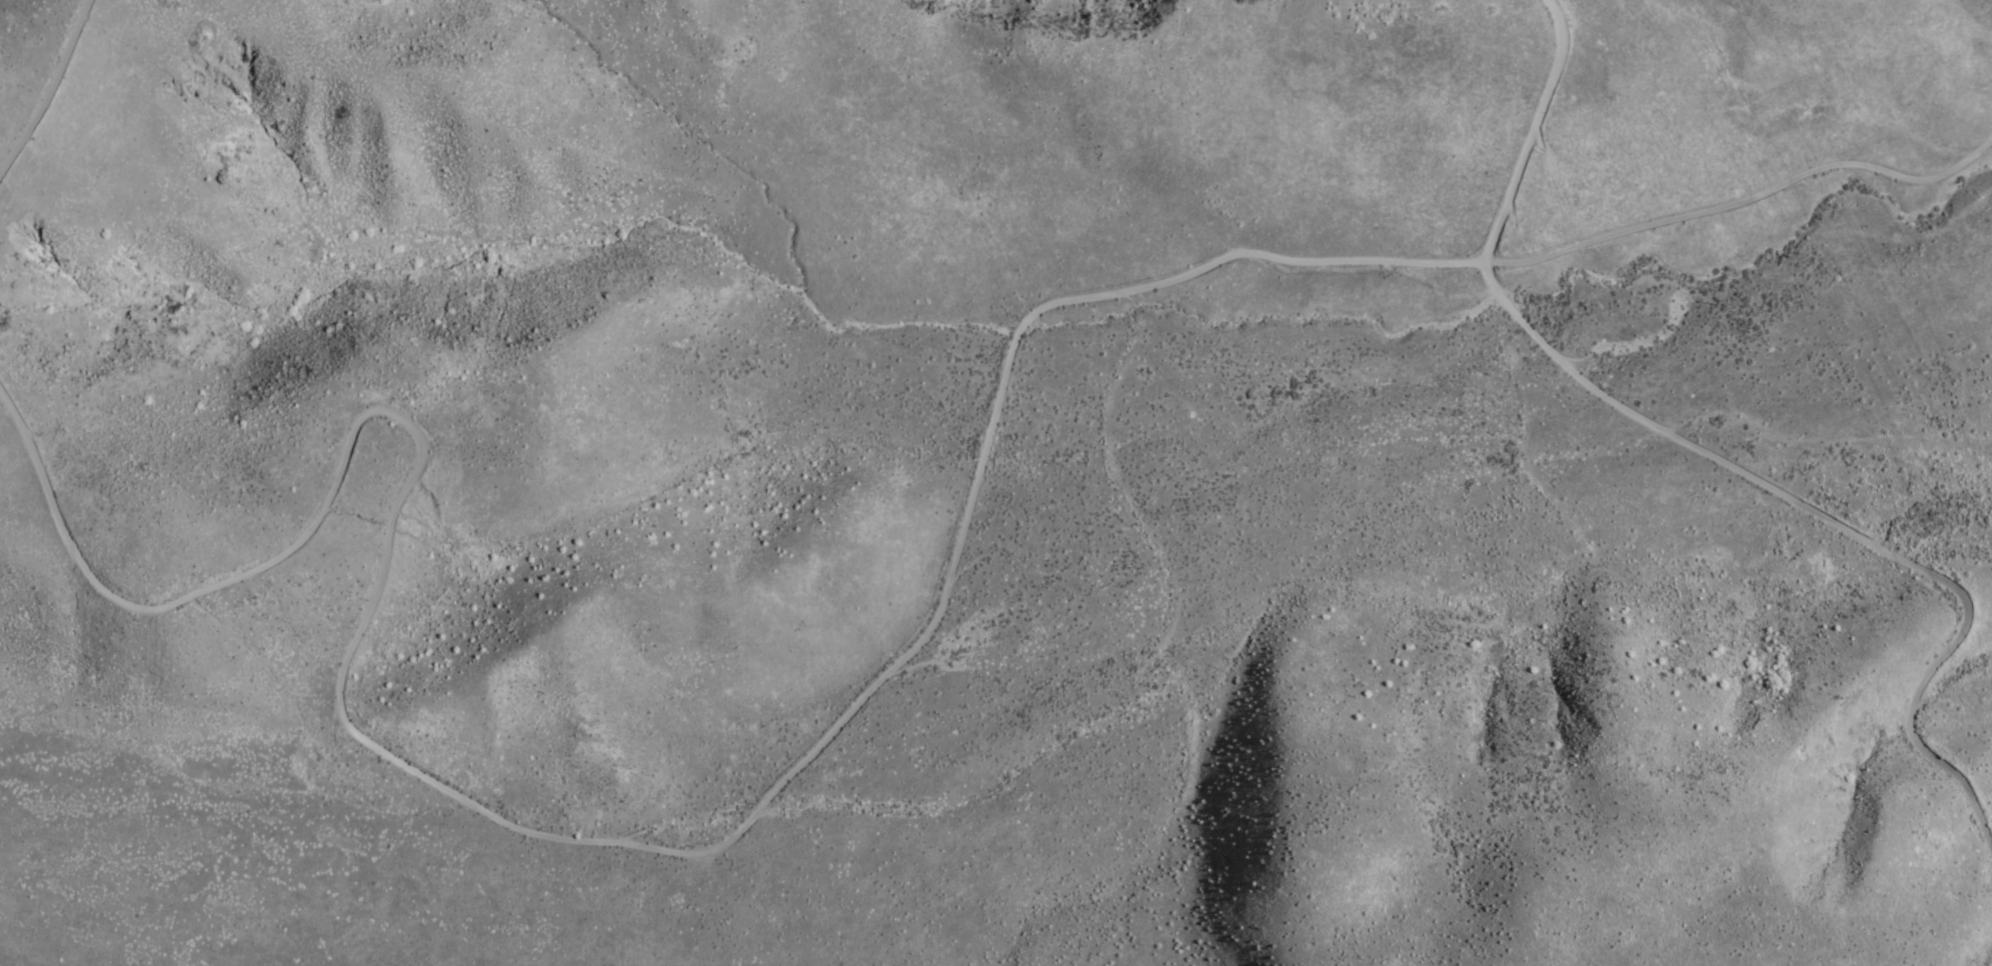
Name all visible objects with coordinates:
road: (50, 90)
road: (1374, 261)
road: (1713, 461)
road: (279, 557)
road: (639, 852)

